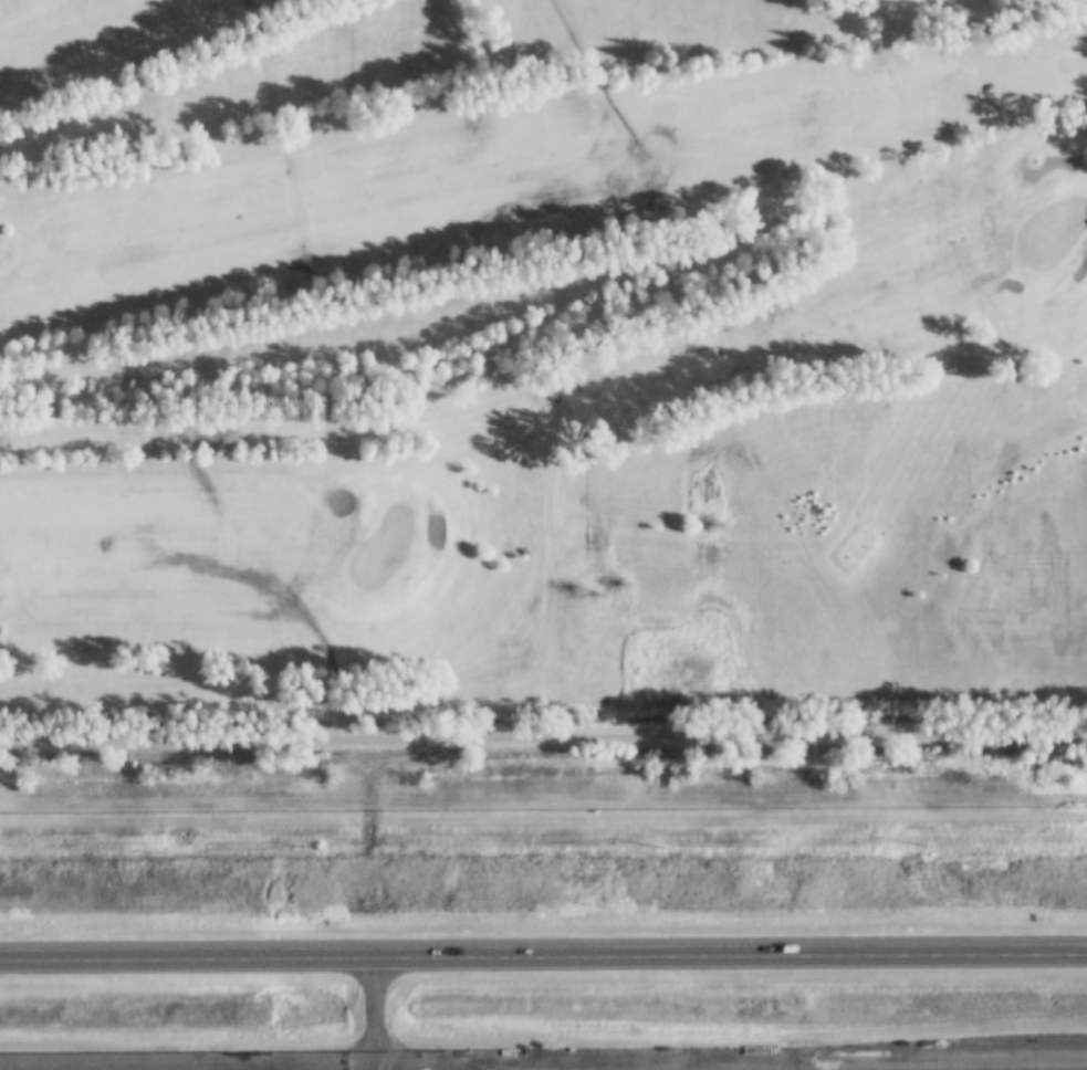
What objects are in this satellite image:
park: (474, 290)
road: (543, 947)
road: (543, 1053)

